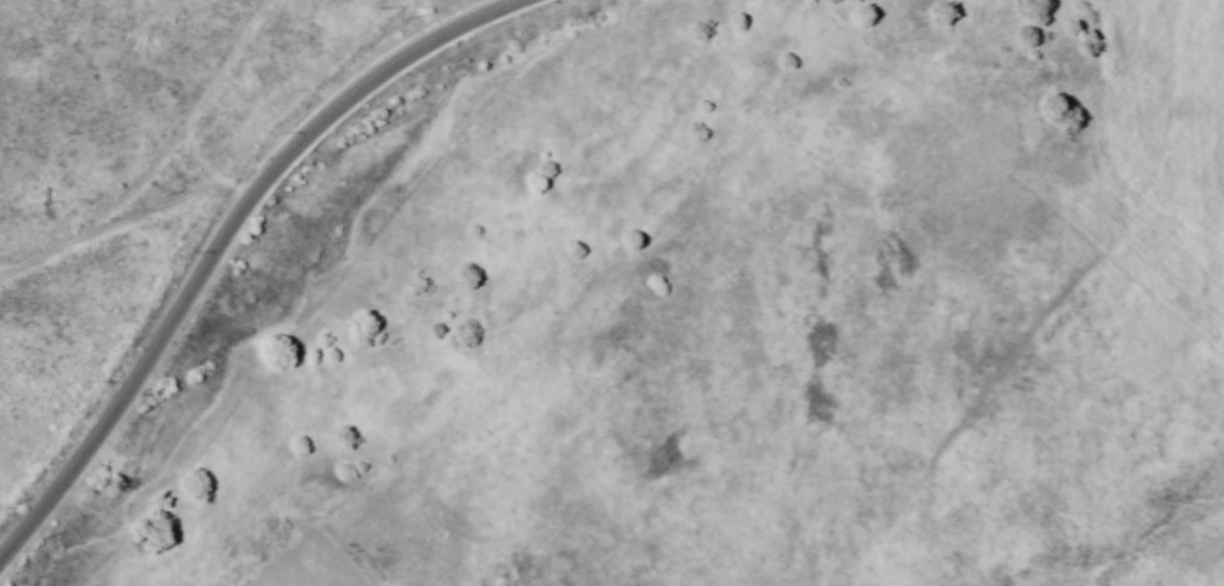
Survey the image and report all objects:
road: (225, 241)

